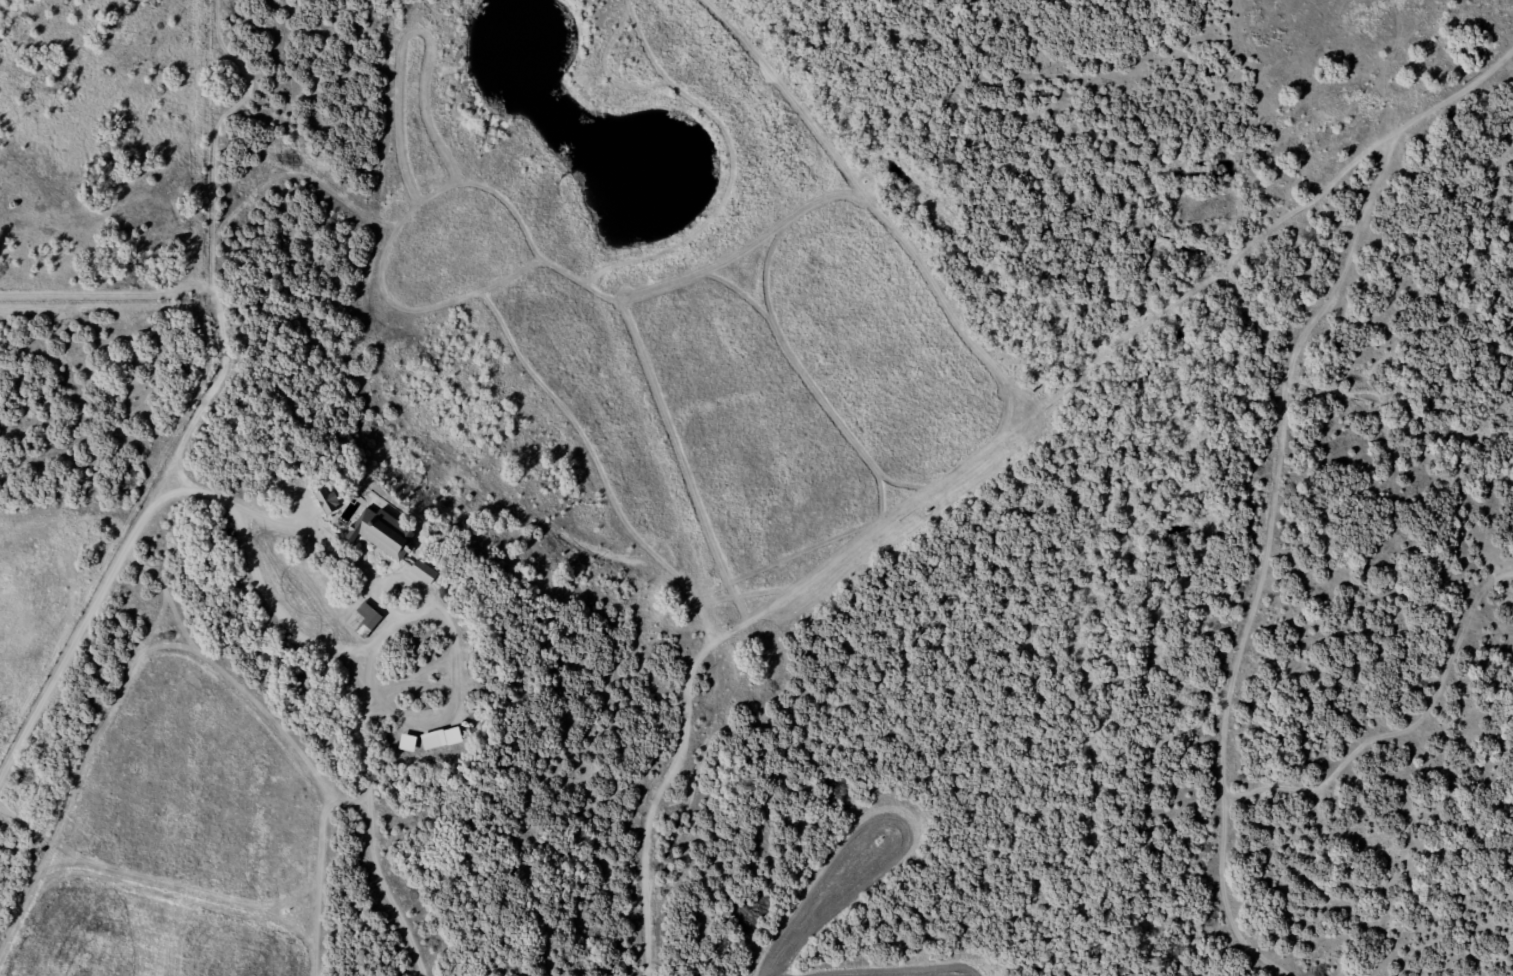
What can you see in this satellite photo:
road: (1322, 486)
road: (532, 496)
building: (381, 514)
building: (367, 620)
building: (433, 743)

